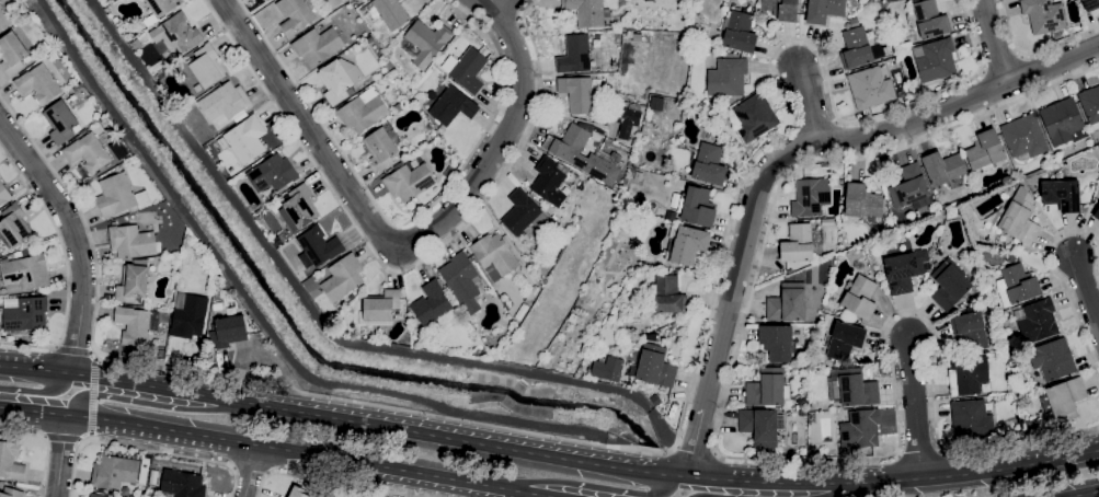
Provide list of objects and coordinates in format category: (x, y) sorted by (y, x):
building: (263, 0)
building: (646, 0)
building: (1055, 0)
road: (497, 3)
building: (1090, 4)
building: (159, 9)
building: (781, 9)
building: (824, 10)
building: (388, 12)
building: (586, 12)
building: (1044, 14)
building: (295, 15)
building: (4, 19)
building: (930, 19)
building: (740, 32)
building: (175, 35)
building: (369, 39)
road: (995, 42)
building: (424, 43)
building: (136, 45)
building: (318, 45)
building: (856, 45)
road: (1033, 48)
building: (12, 54)
building: (574, 54)
building: (935, 59)
building: (207, 66)
building: (466, 69)
building: (726, 78)
building: (337, 80)
building: (947, 82)
building: (38, 83)
building: (871, 86)
building: (78, 89)
building: (577, 93)
building: (55, 97)
building: (225, 101)
road: (812, 102)
building: (656, 103)
building: (1090, 105)
building: (399, 106)
building: (451, 106)
building: (363, 111)
building: (711, 112)
building: (754, 117)
building: (626, 119)
building: (61, 122)
building: (1063, 122)
road: (508, 124)
building: (430, 129)
building: (1024, 137)
building: (247, 139)
building: (569, 142)
road: (320, 143)
building: (381, 146)
building: (985, 150)
building: (88, 152)
road: (786, 155)
building: (709, 164)
building: (943, 169)
building: (272, 173)
building: (638, 175)
building: (550, 180)
building: (409, 181)
building: (911, 187)
building: (1062, 194)
building: (3, 196)
building: (119, 196)
building: (811, 196)
building: (861, 200)
railway: (602, 204)
building: (301, 206)
building: (697, 206)
building: (523, 212)
building: (1097, 213)
building: (1019, 217)
building: (826, 221)
road: (402, 222)
building: (14, 224)
road: (78, 238)
building: (131, 241)
building: (798, 243)
building: (687, 244)
building: (1016, 246)
building: (318, 247)
building: (23, 252)
building: (494, 256)
building: (1010, 257)
road: (66, 264)
building: (666, 268)
road: (398, 269)
building: (675, 269)
building: (905, 269)
building: (24, 273)
building: (343, 278)
building: (461, 280)
building: (133, 281)
building: (949, 284)
building: (1016, 285)
road: (1062, 285)
building: (535, 290)
road: (1087, 291)
building: (215, 293)
building: (668, 294)
building: (352, 297)
building: (859, 297)
building: (787, 302)
building: (432, 305)
building: (217, 307)
building: (379, 308)
building: (520, 312)
building: (24, 313)
building: (188, 315)
building: (1037, 320)
building: (134, 325)
building: (970, 330)
building: (228, 332)
building: (497, 337)
building: (845, 339)
building: (777, 342)
road: (54, 346)
road: (70, 348)
road: (90, 350)
building: (160, 354)
road: (94, 357)
building: (1052, 359)
building: (655, 366)
building: (606, 367)
road: (57, 372)
building: (811, 372)
building: (968, 375)
building: (768, 388)
building: (857, 388)
road: (167, 389)
road: (35, 390)
road: (91, 395)
road: (91, 397)
building: (1062, 400)
road: (915, 409)
building: (802, 413)
building: (971, 419)
building: (760, 426)
building: (1031, 427)
building: (860, 428)
road: (89, 436)
road: (59, 437)
road: (82, 439)
road: (47, 443)
road: (268, 447)
road: (696, 447)
road: (144, 449)
road: (634, 449)
road: (1074, 453)
road: (61, 454)
road: (737, 456)
building: (11, 462)
road: (631, 463)
road: (251, 471)
building: (114, 472)
road: (335, 481)
building: (182, 484)
road: (798, 488)
road: (610, 489)
building: (11, 493)
road: (1079, 493)
building: (298, 494)
building: (99, 495)

